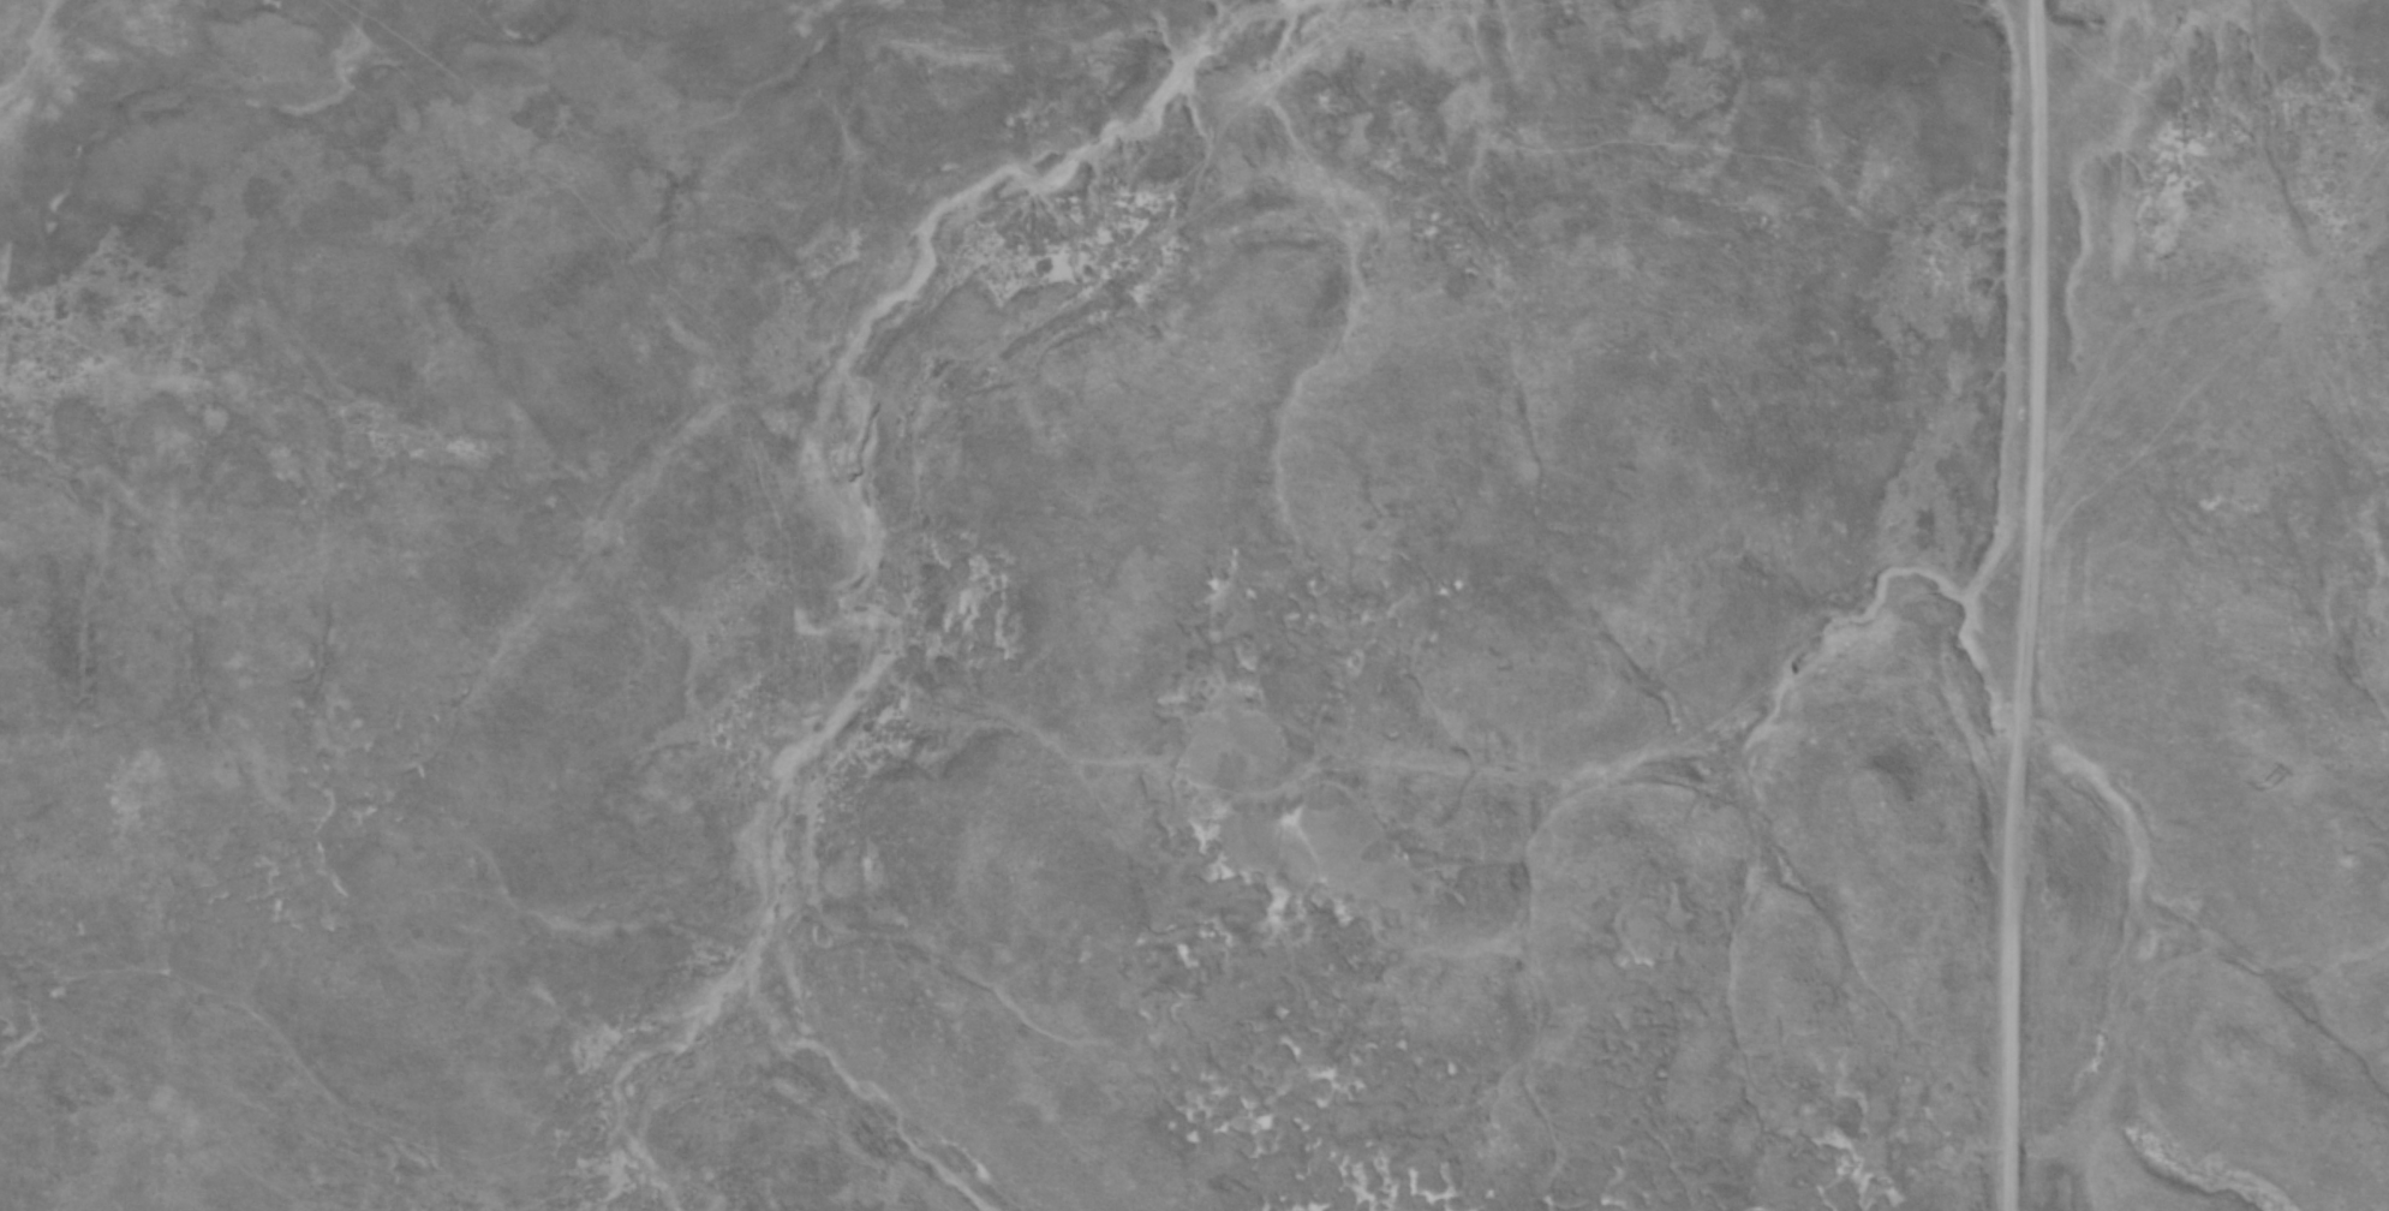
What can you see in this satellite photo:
road: (2024, 605)
power tower: (2265, 783)

